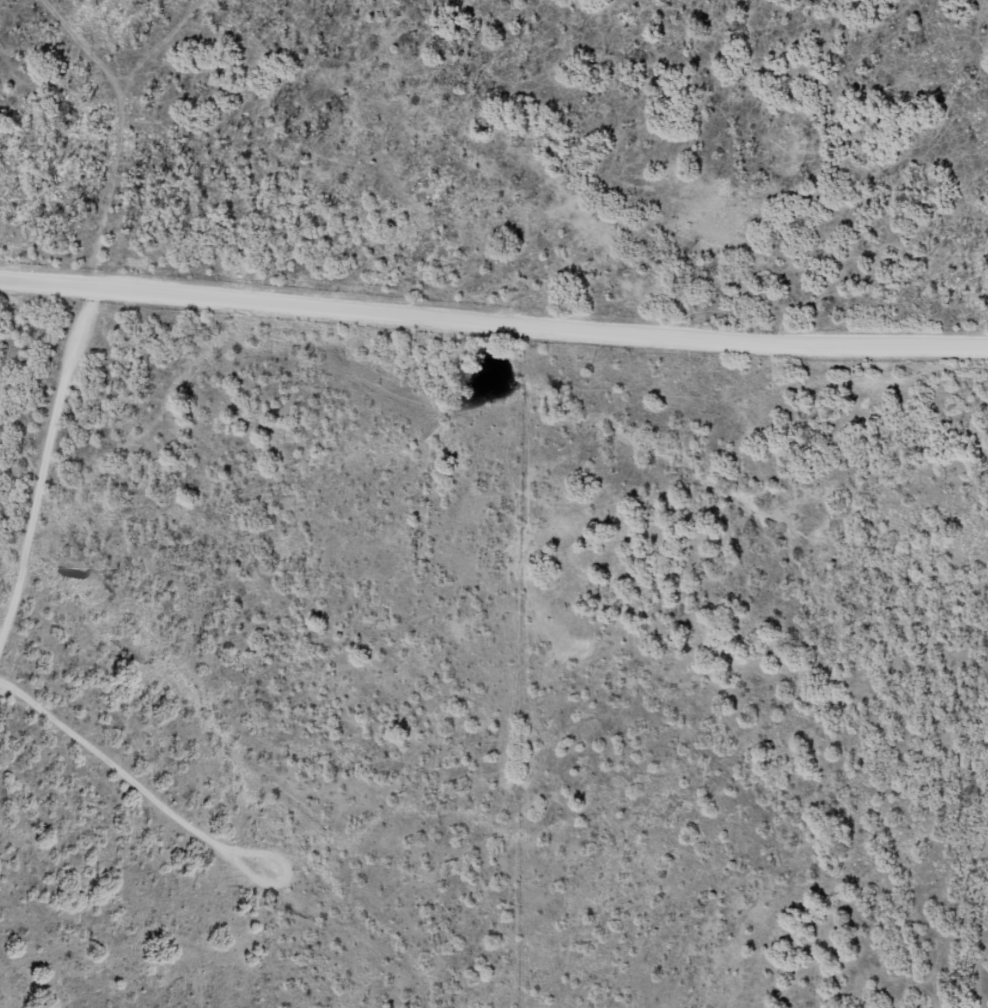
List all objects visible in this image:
road: (493, 331)
road: (72, 526)

